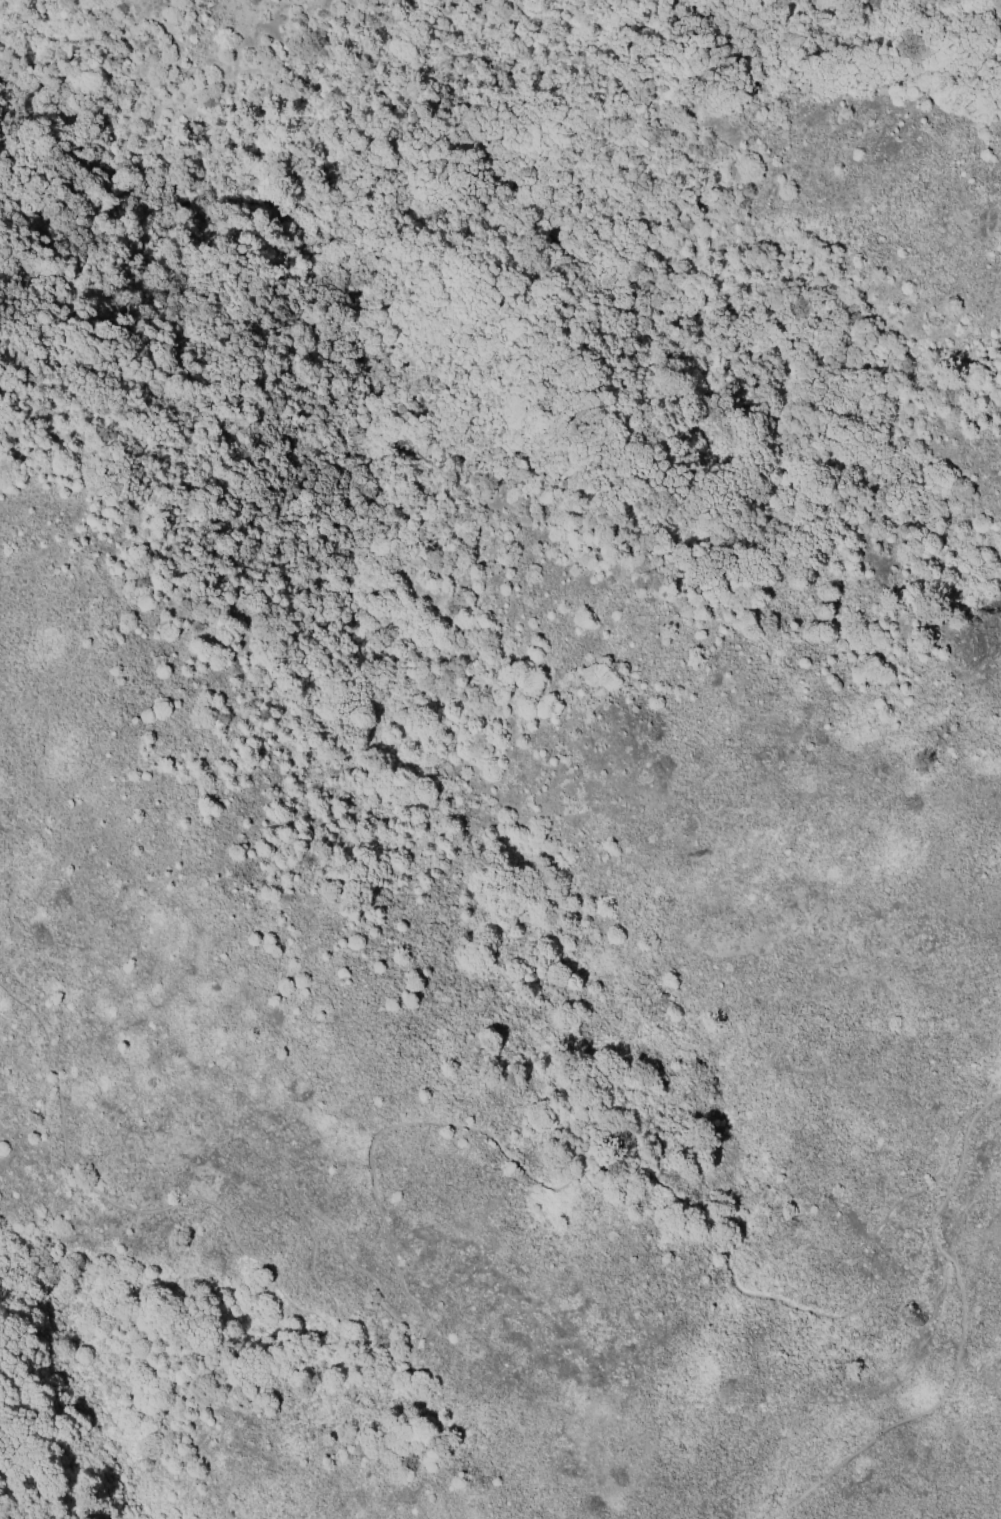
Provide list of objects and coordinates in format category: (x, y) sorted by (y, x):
road: (987, 1101)
road: (414, 1351)
road: (961, 1356)

